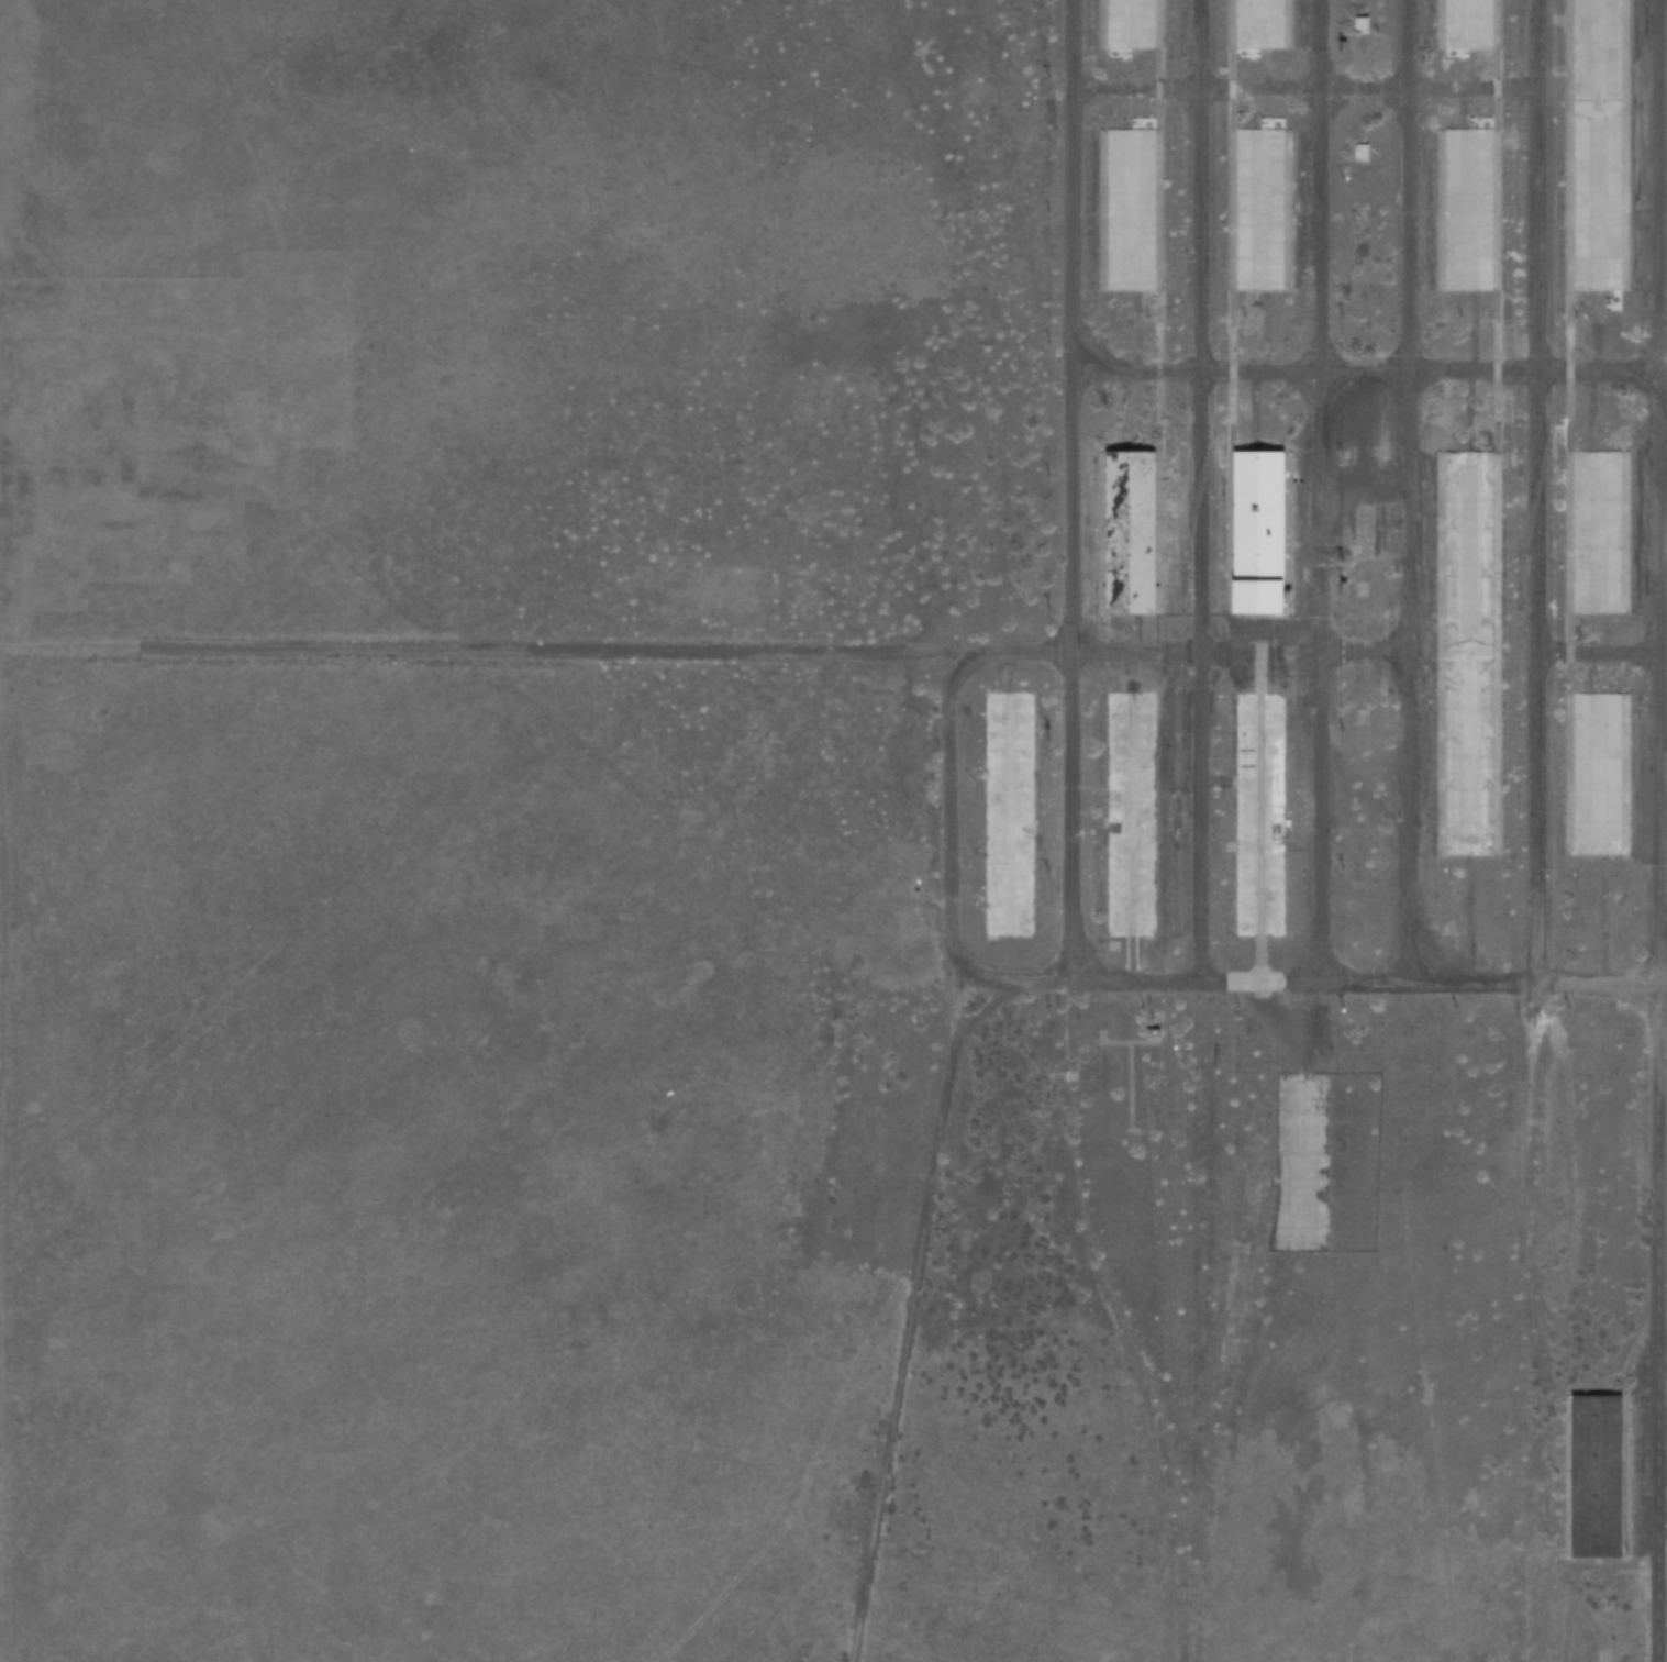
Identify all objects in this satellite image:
building: (1360, 20)
building: (1259, 24)
building: (1468, 25)
building: (1129, 27)
railway: (1182, 31)
building: (1597, 146)
building: (1360, 148)
building: (1469, 207)
building: (1131, 208)
building: (1259, 208)
railway: (1203, 470)
road: (1067, 491)
road: (1321, 496)
road: (1397, 499)
building: (1258, 524)
building: (1132, 529)
building: (1596, 532)
road: (533, 651)
building: (1465, 652)
railway: (1168, 723)
building: (1598, 773)
building: (1130, 813)
building: (1257, 813)
building: (1007, 815)
railway: (1181, 815)
railway: (1220, 831)
railway: (1520, 831)
road: (1656, 831)
road: (1310, 990)
railway: (1233, 1171)
railway: (1102, 1279)
railway: (1248, 1309)
building: (1598, 1476)

